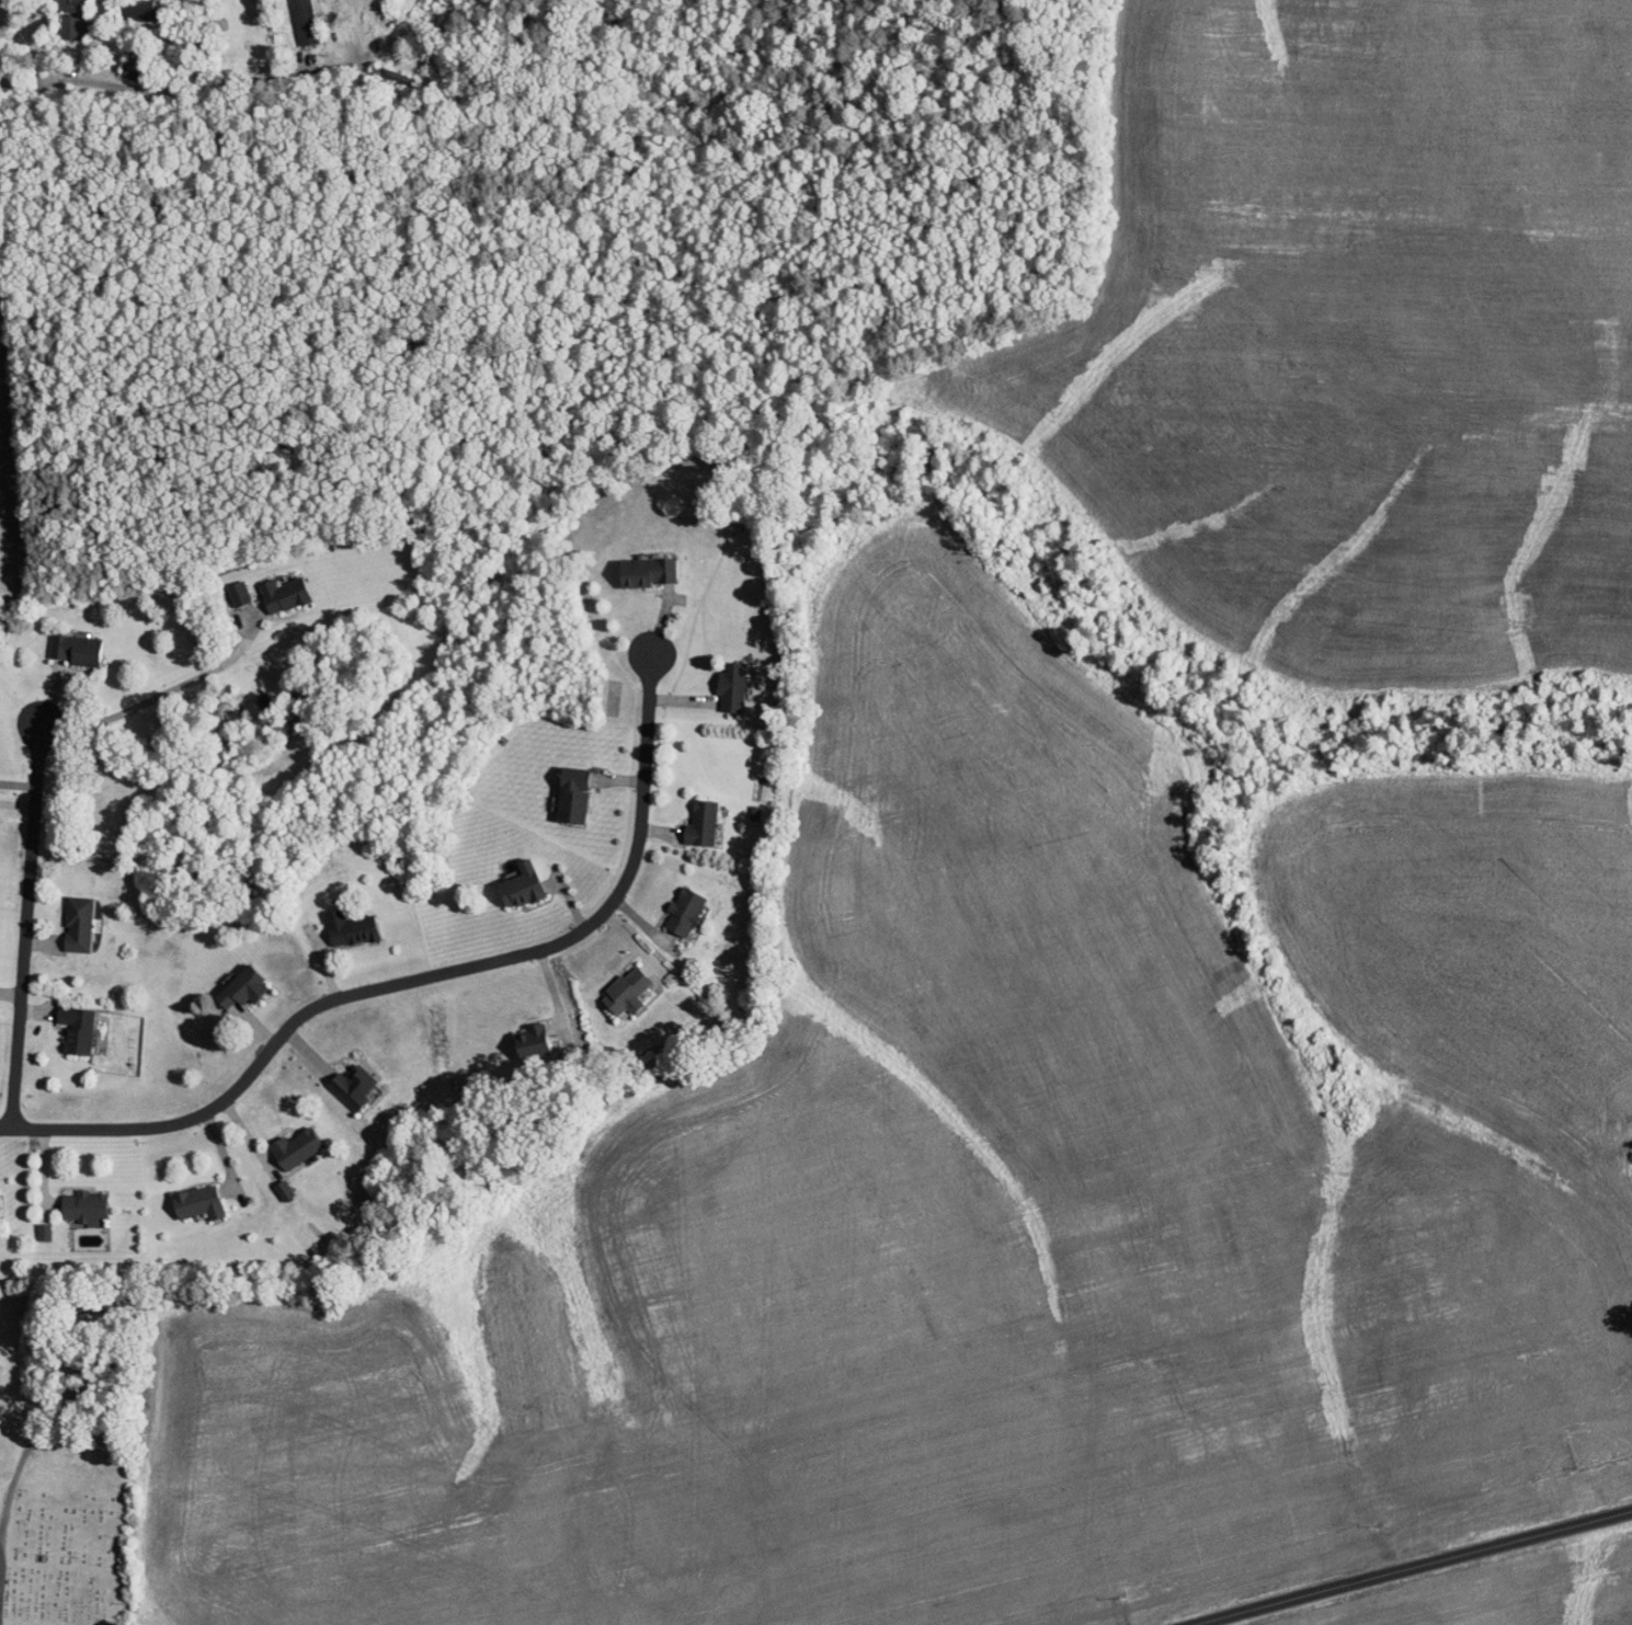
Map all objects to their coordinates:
building: (73, 15)
building: (304, 21)
road: (216, 90)
building: (643, 572)
building: (238, 593)
building: (281, 594)
building: (73, 649)
building: (729, 686)
road: (158, 693)
road: (16, 783)
building: (569, 796)
building: (699, 824)
building: (516, 886)
building: (681, 913)
building: (78, 924)
building: (345, 928)
road: (23, 931)
road: (415, 979)
building: (239, 989)
building: (623, 992)
building: (75, 1031)
building: (539, 1043)
building: (352, 1085)
building: (293, 1148)
building: (194, 1202)
building: (83, 1208)
road: (1420, 1569)

